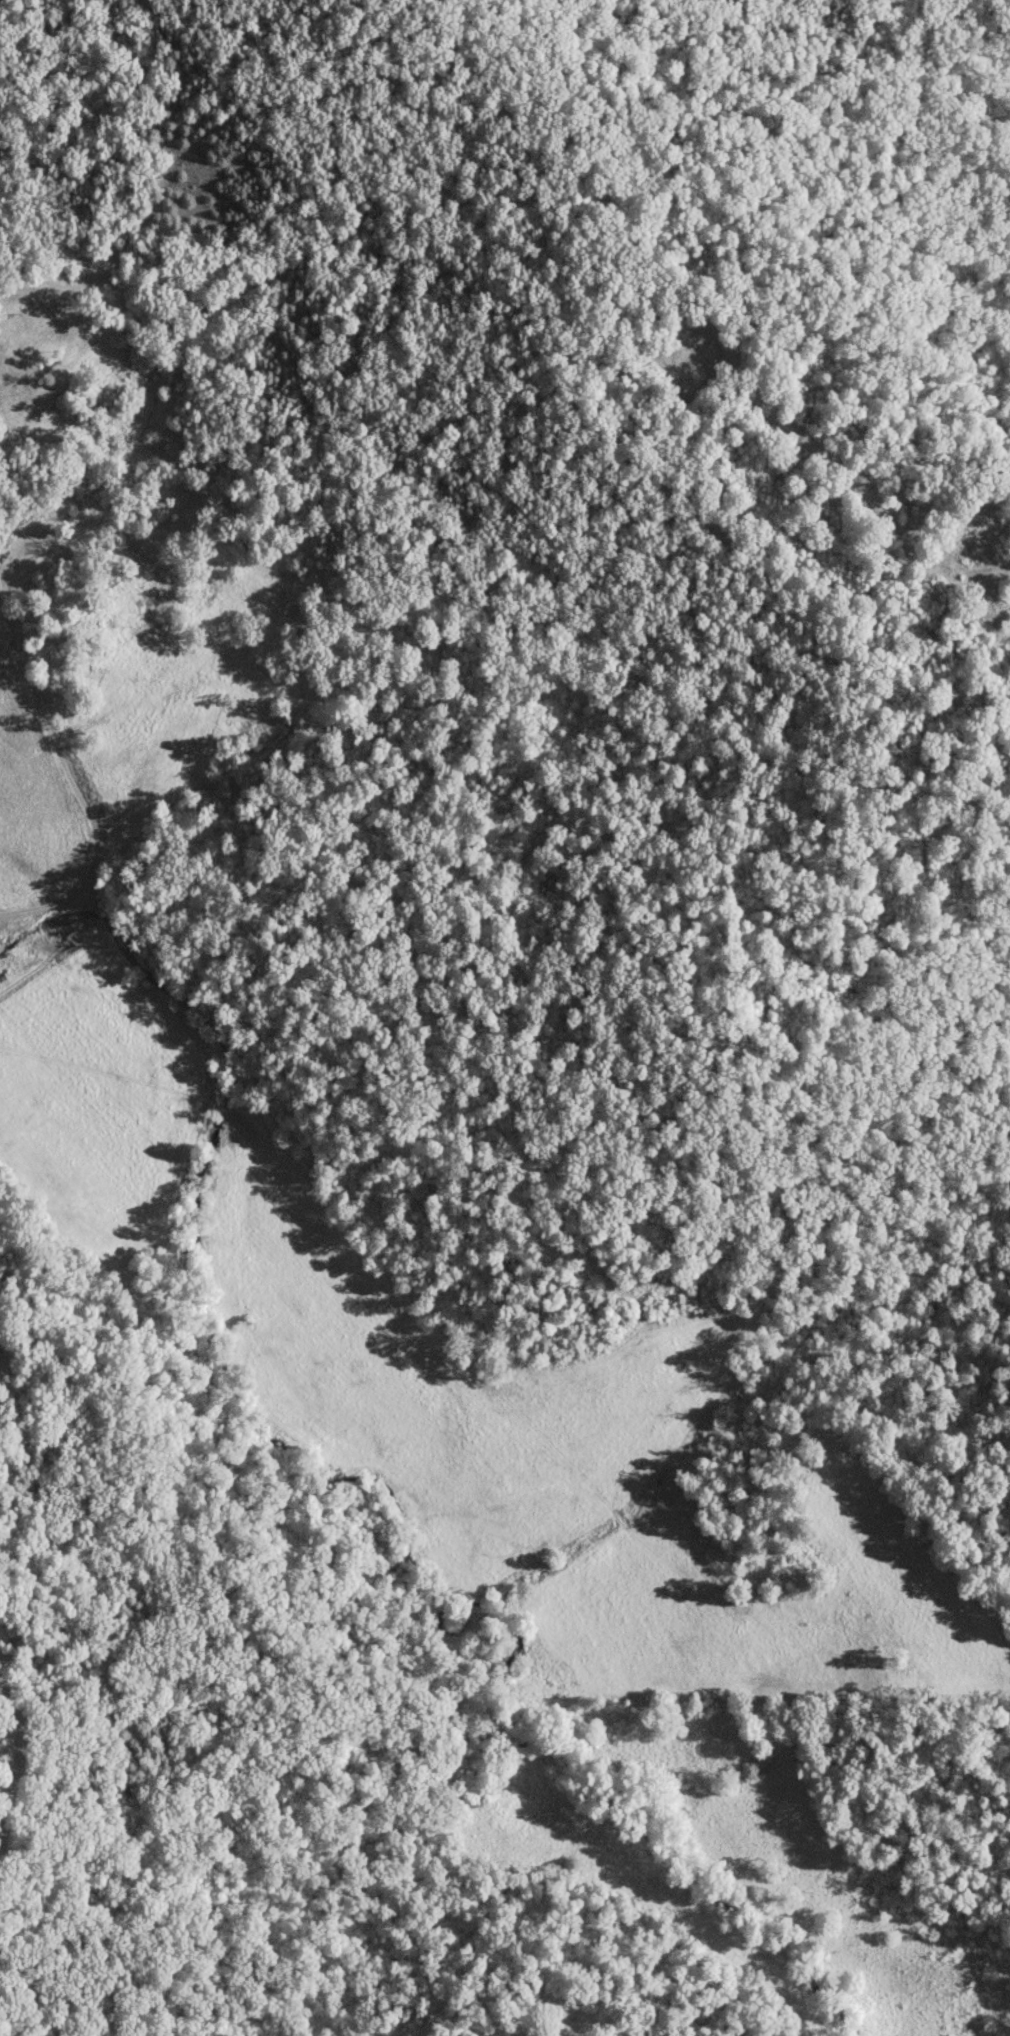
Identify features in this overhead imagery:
road: (73, 788)
road: (19, 1753)

